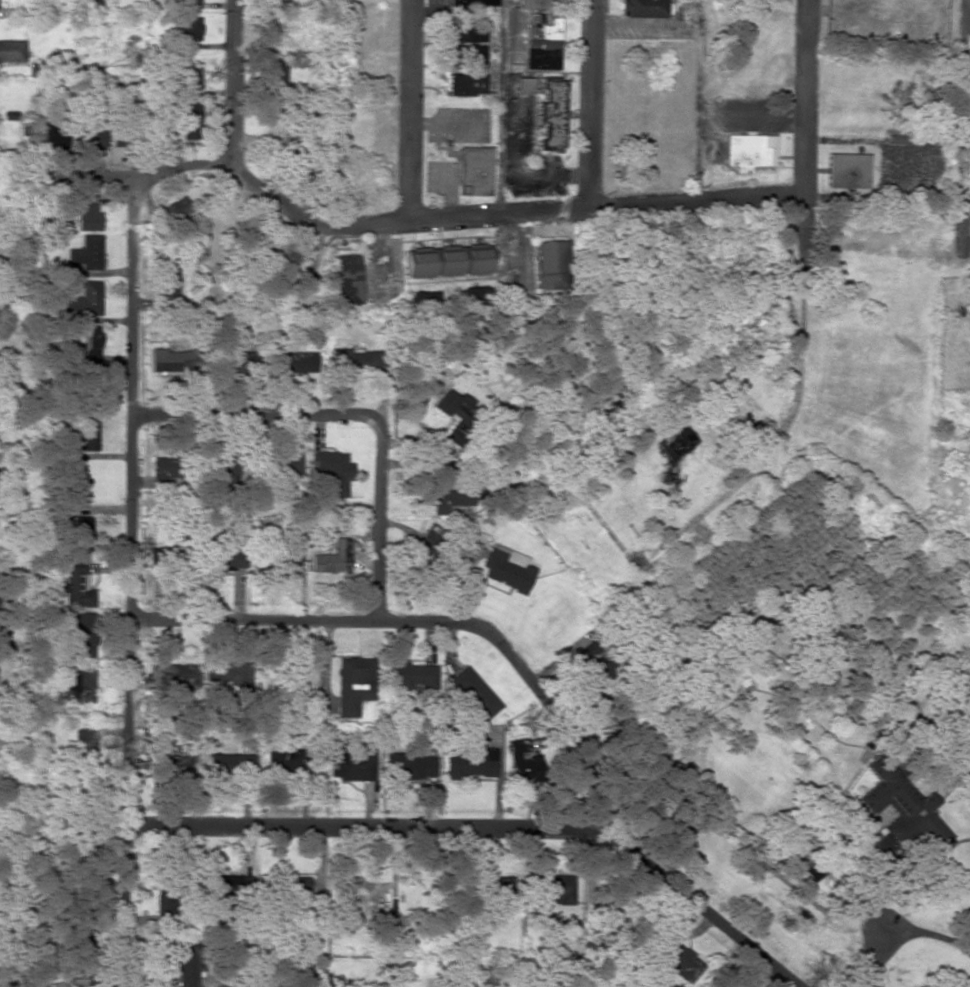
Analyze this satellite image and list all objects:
building: (473, 2)
building: (187, 4)
building: (531, 4)
building: (644, 8)
building: (188, 28)
building: (467, 34)
building: (541, 40)
building: (11, 51)
building: (275, 76)
road: (233, 80)
building: (523, 85)
building: (190, 102)
road: (590, 103)
road: (410, 110)
building: (549, 111)
building: (89, 134)
building: (748, 151)
building: (472, 171)
building: (847, 171)
road: (960, 201)
building: (87, 213)
road: (458, 216)
building: (87, 253)
building: (446, 261)
building: (301, 264)
building: (549, 264)
building: (344, 280)
building: (84, 300)
road: (802, 317)
building: (89, 346)
building: (353, 357)
building: (169, 359)
building: (292, 362)
building: (455, 414)
road: (359, 416)
building: (87, 433)
building: (295, 459)
building: (332, 471)
building: (444, 492)
building: (472, 492)
building: (79, 535)
building: (427, 538)
building: (286, 555)
building: (226, 558)
building: (333, 559)
building: (506, 568)
road: (130, 584)
building: (77, 585)
road: (428, 623)
building: (82, 634)
building: (413, 676)
building: (79, 684)
building: (353, 684)
building: (474, 693)
building: (288, 762)
building: (230, 763)
building: (354, 764)
building: (471, 764)
building: (174, 766)
building: (524, 766)
building: (410, 767)
building: (841, 807)
building: (913, 811)
road: (485, 827)
building: (490, 886)
building: (187, 963)

